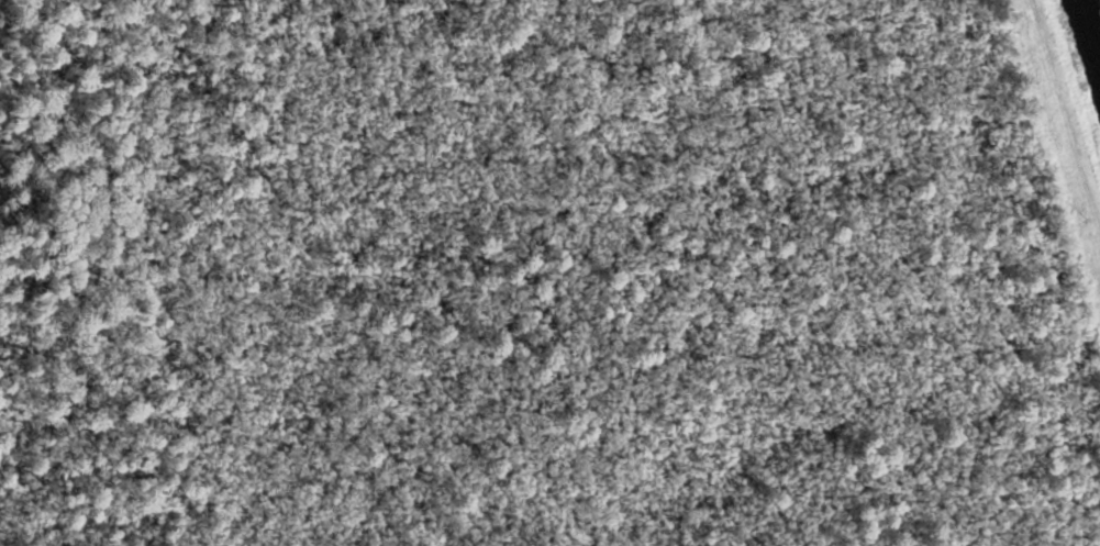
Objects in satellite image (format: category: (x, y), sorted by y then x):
road: (1066, 111)

